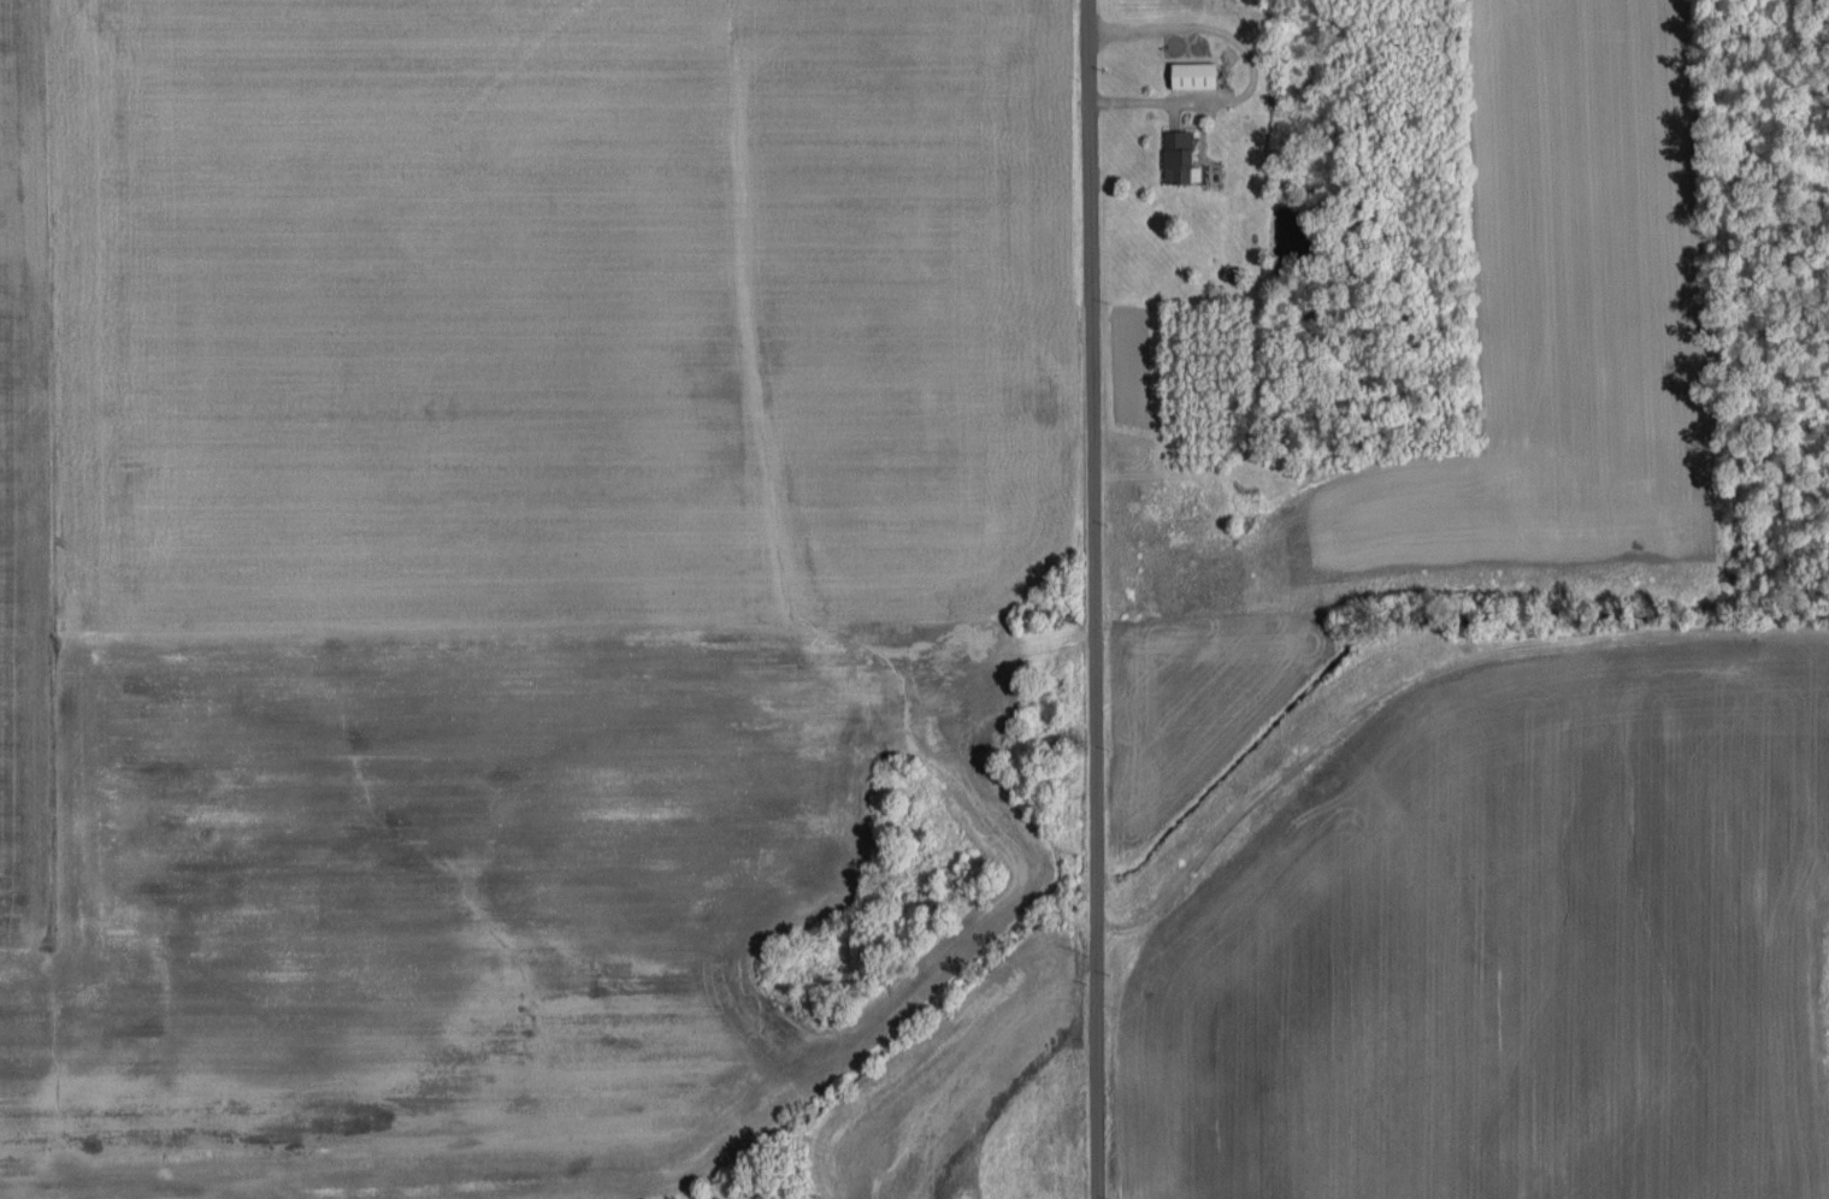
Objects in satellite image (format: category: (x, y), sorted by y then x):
road: (1250, 72)
building: (1192, 75)
road: (1091, 599)

